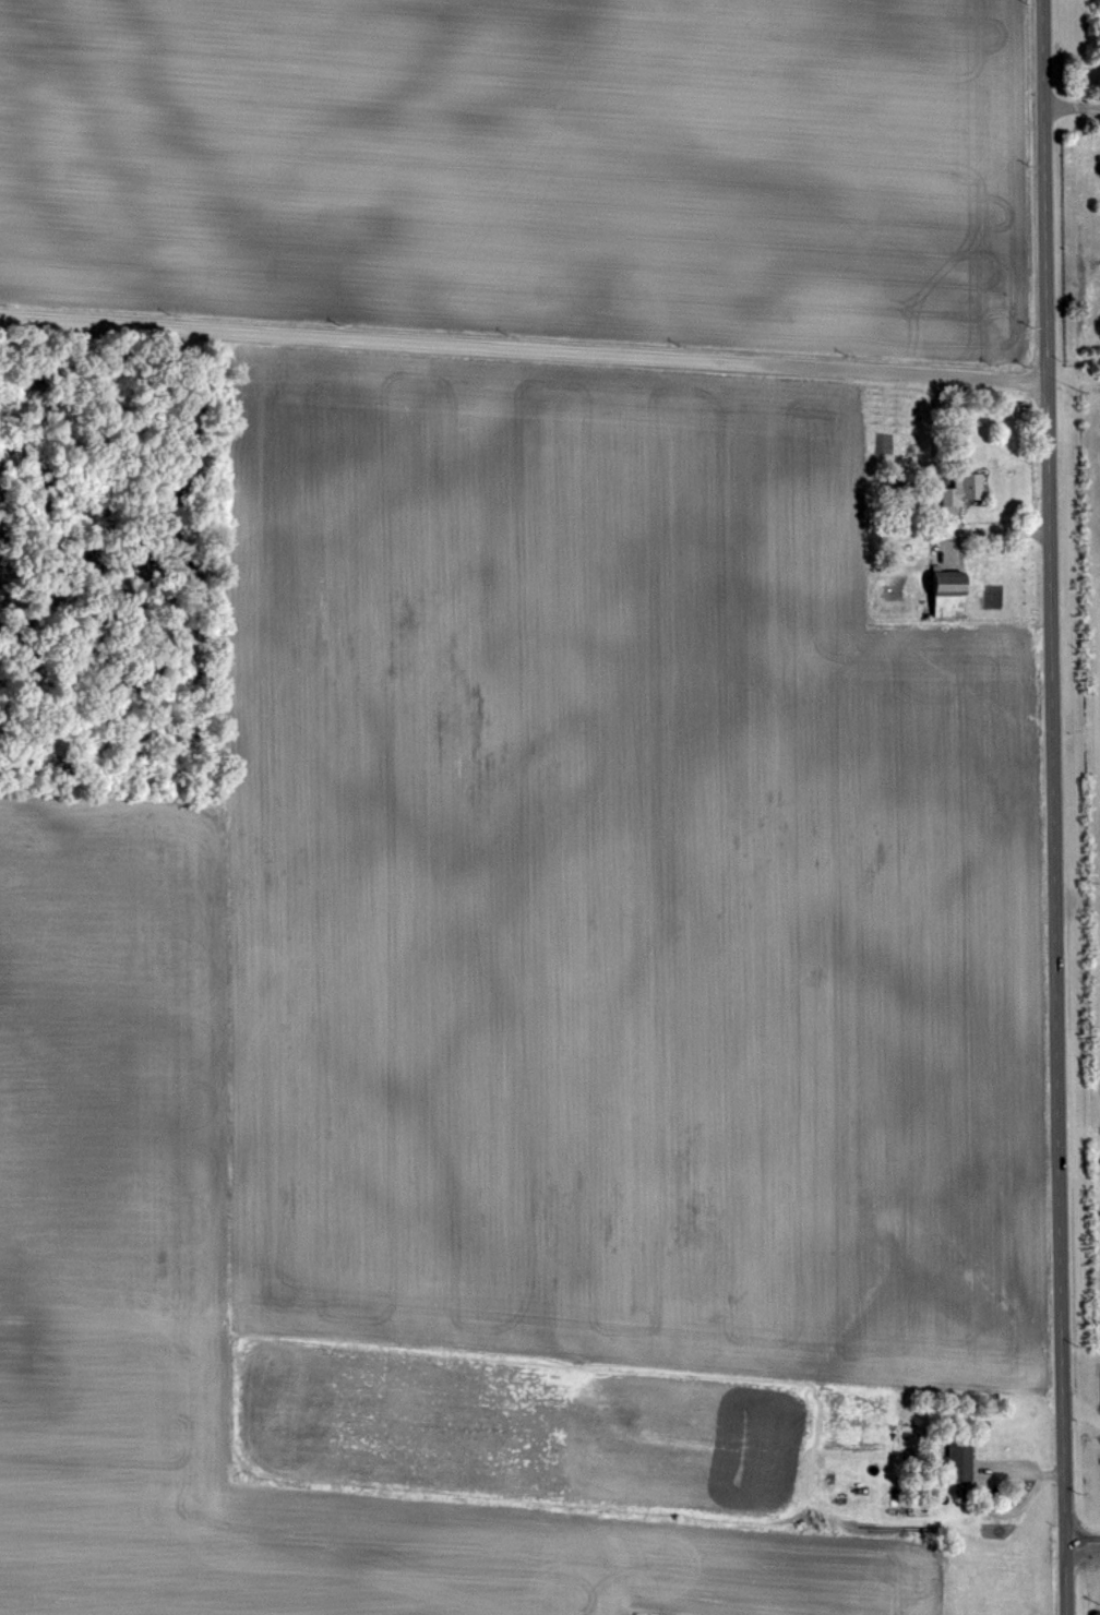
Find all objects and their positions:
road: (1071, 104)
road: (522, 346)
building: (964, 506)
building: (949, 611)
road: (1052, 807)
building: (957, 1479)
road: (1083, 1538)

